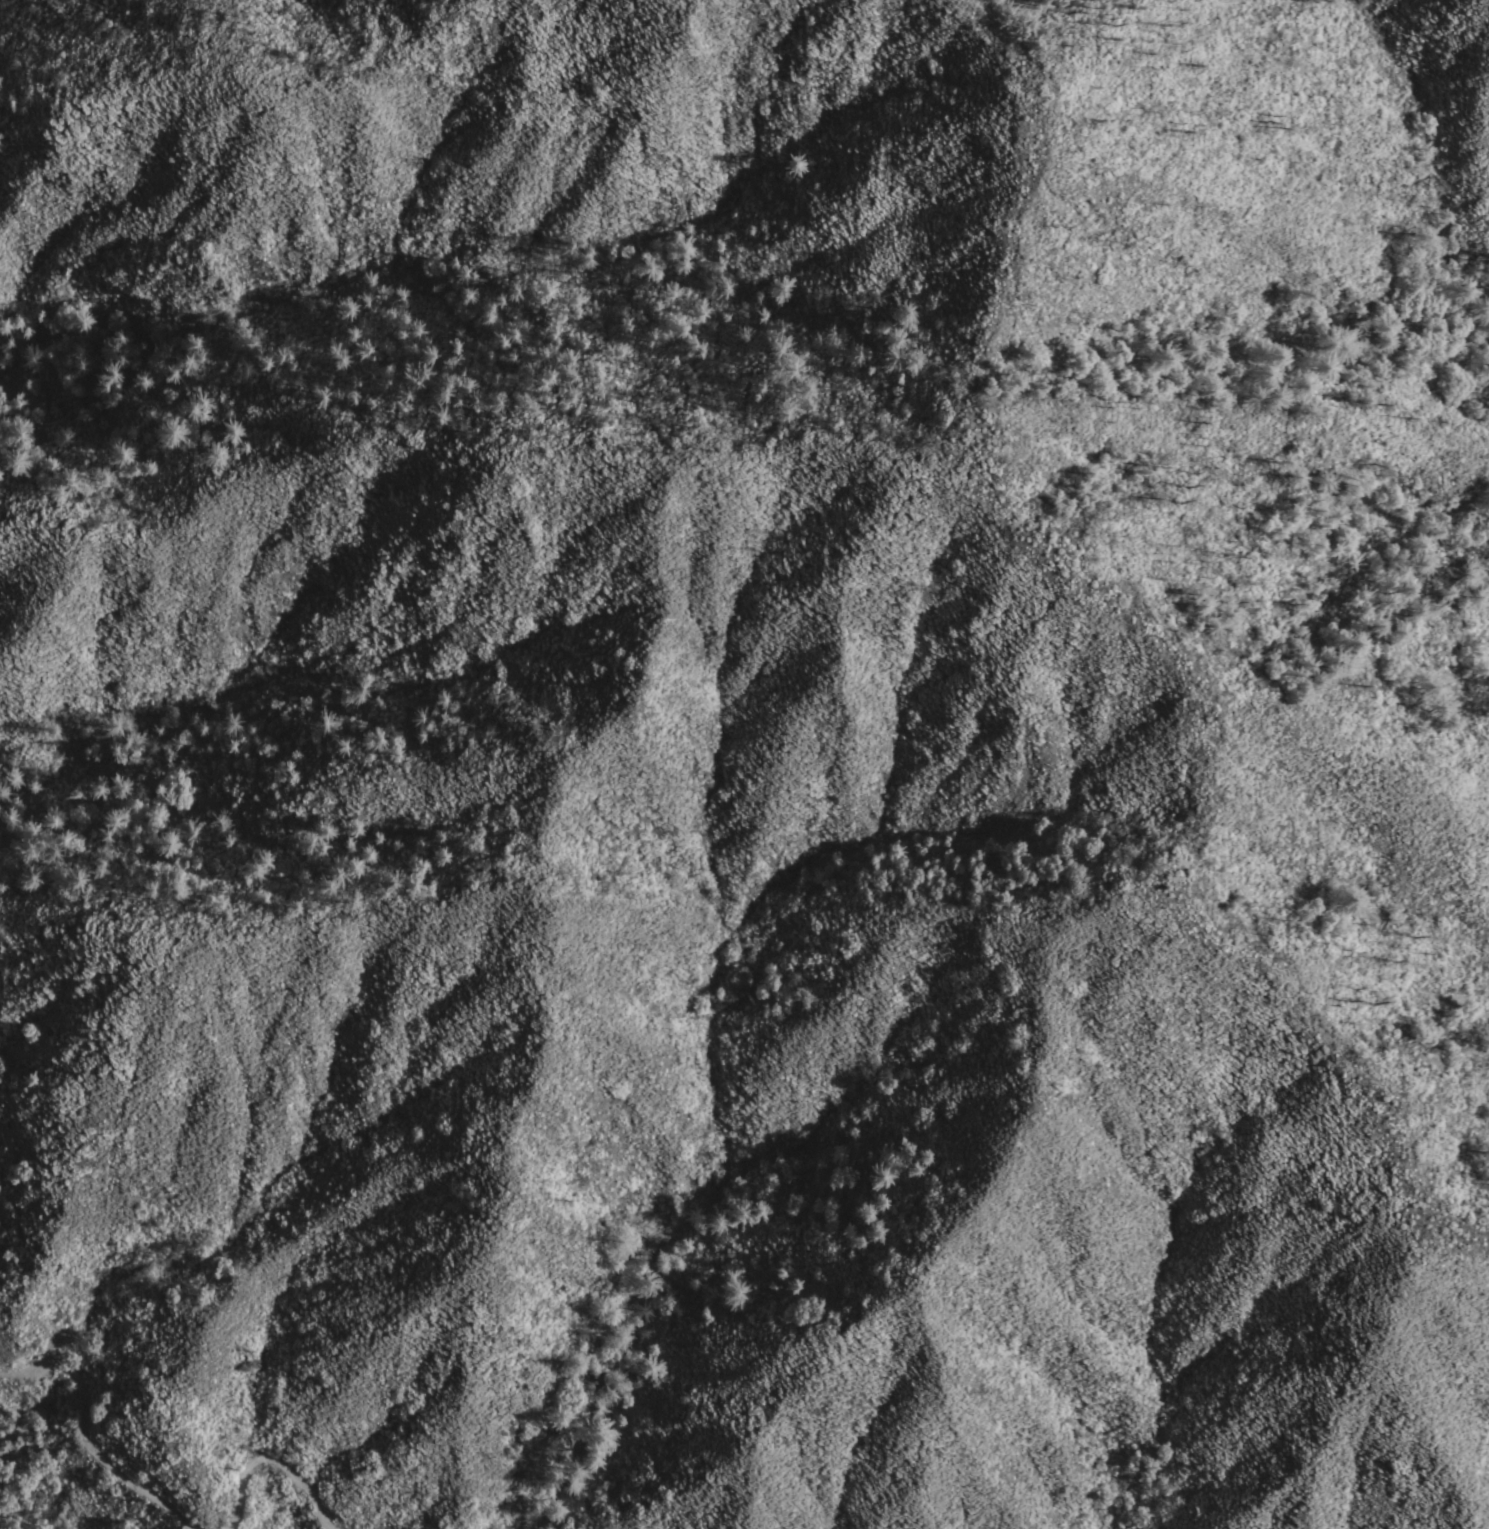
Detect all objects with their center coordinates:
road: (89, 1439)
road: (279, 1466)

